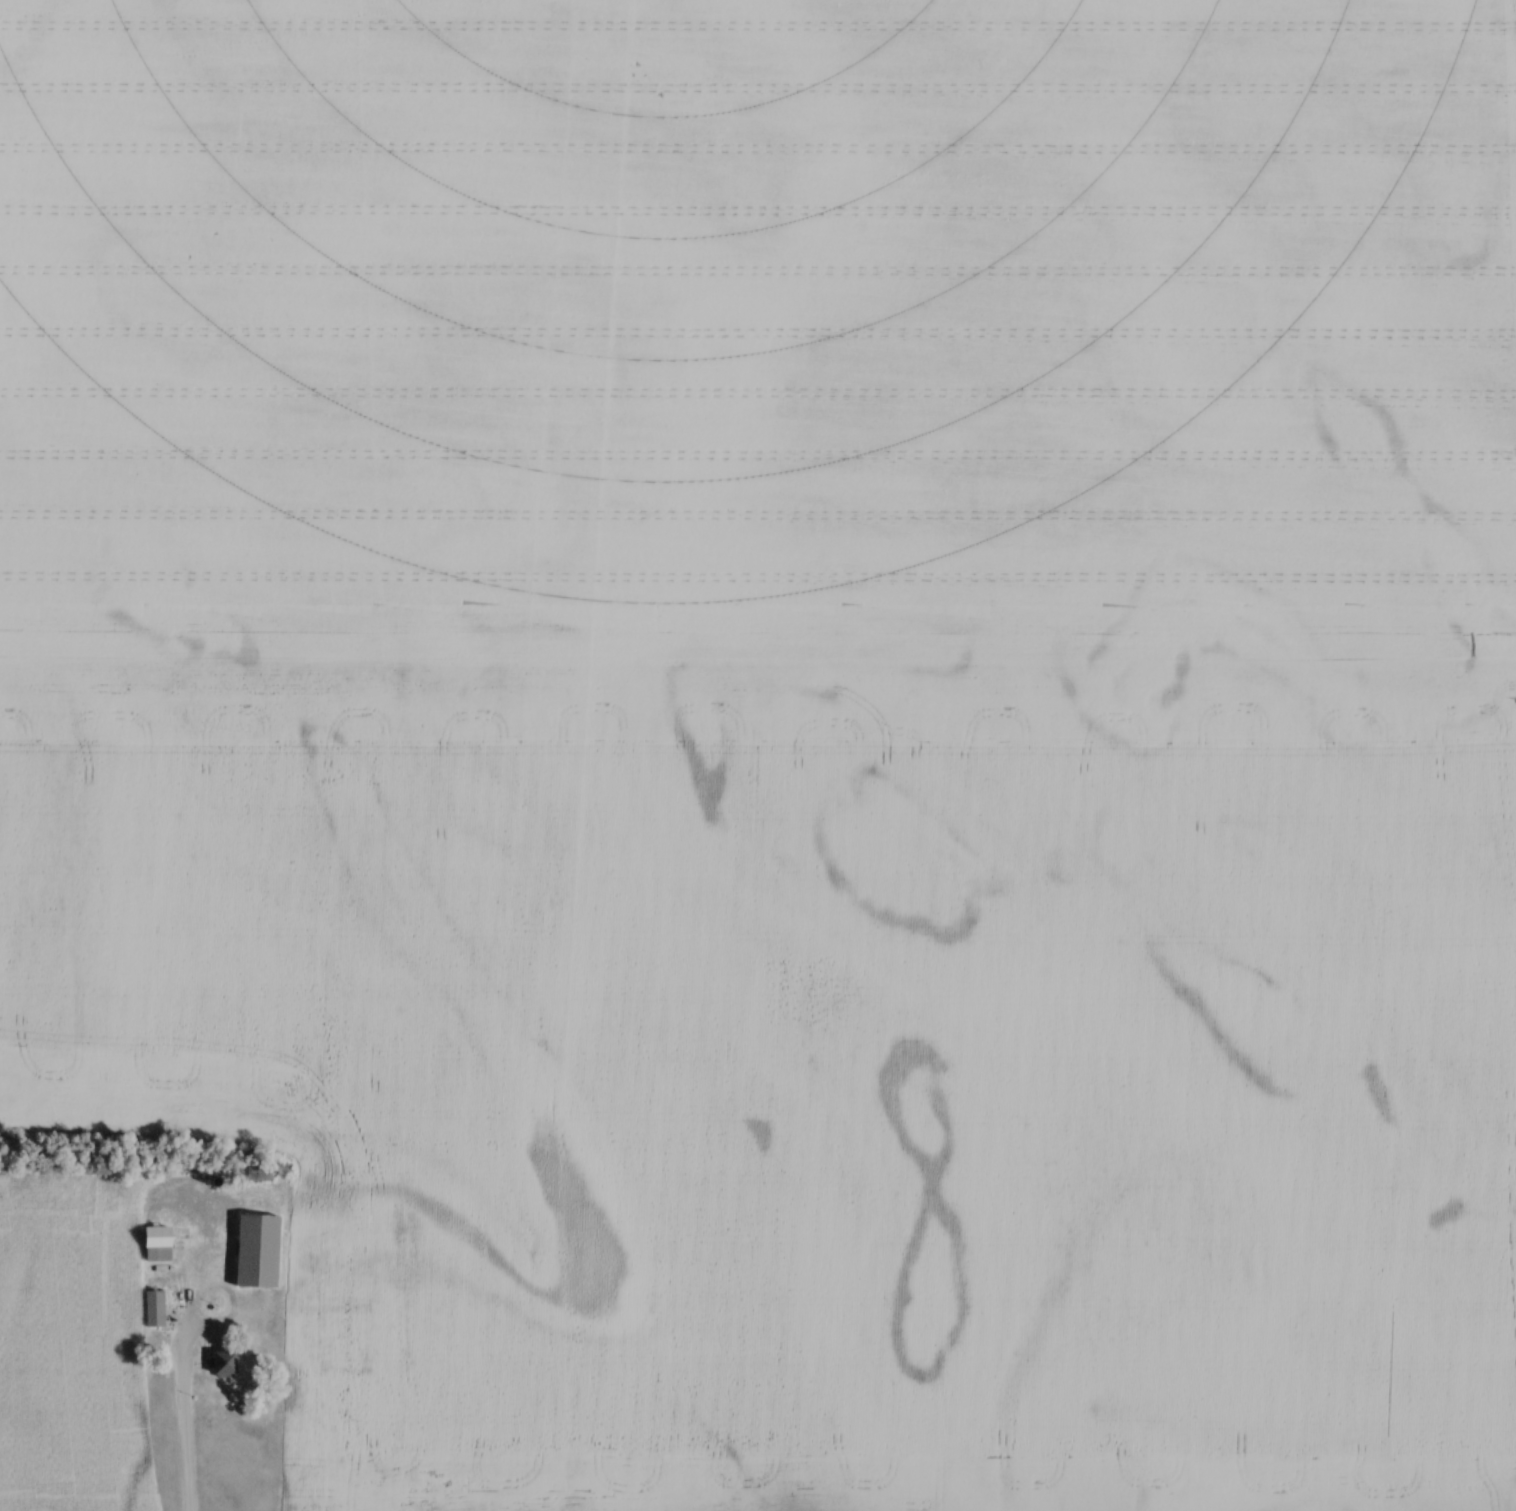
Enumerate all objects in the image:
building: (164, 1246)
building: (262, 1252)
building: (159, 1310)
building: (229, 1364)
road: (183, 1415)

